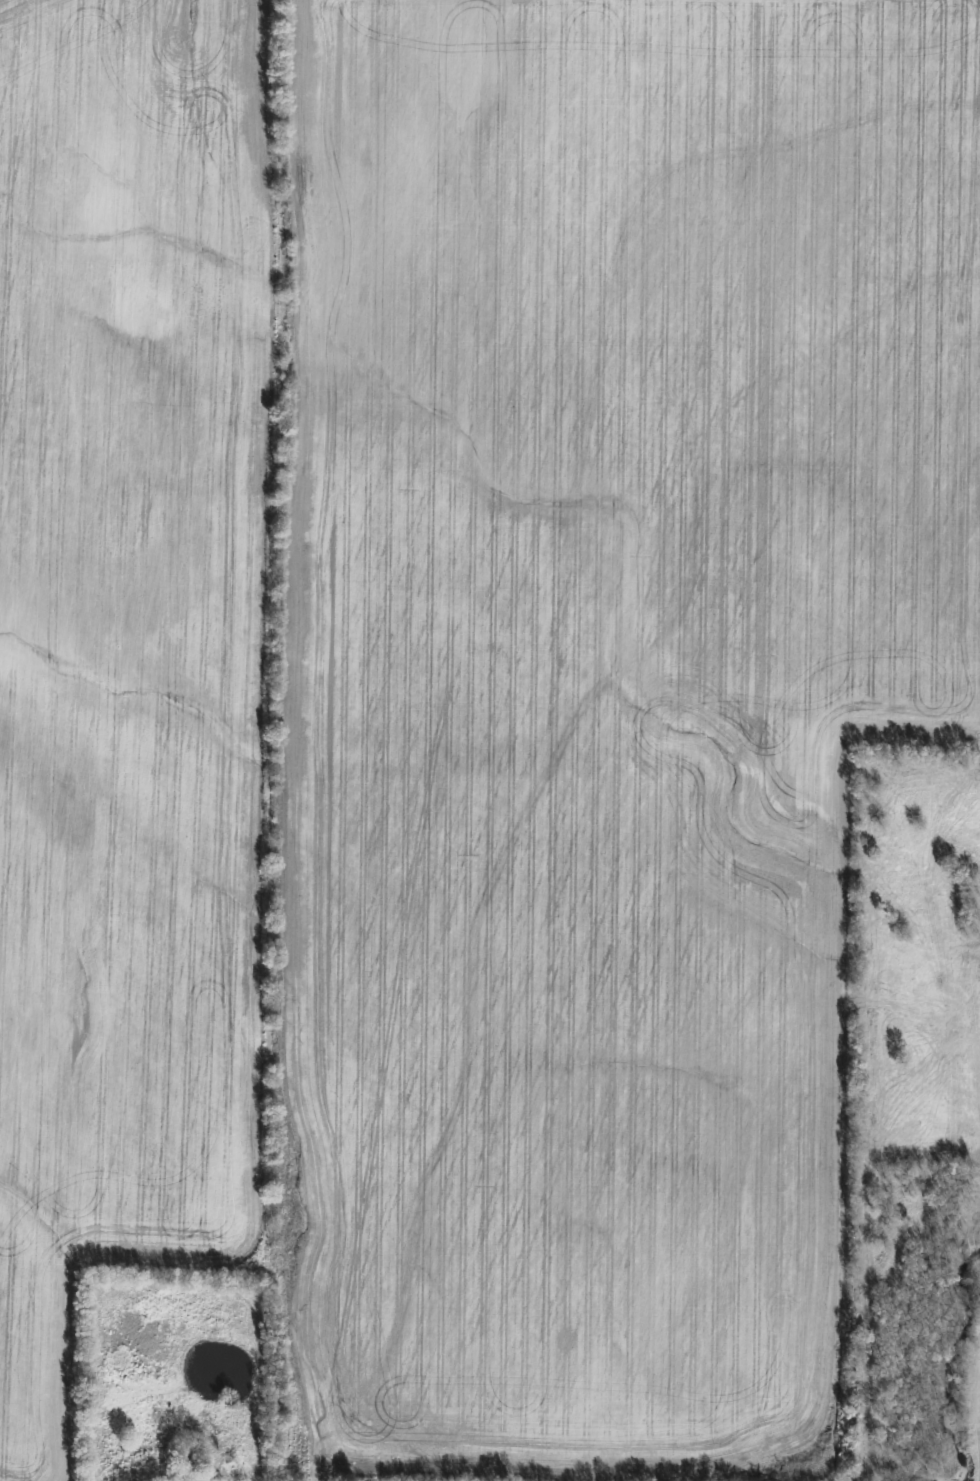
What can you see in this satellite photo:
road: (868, 336)

